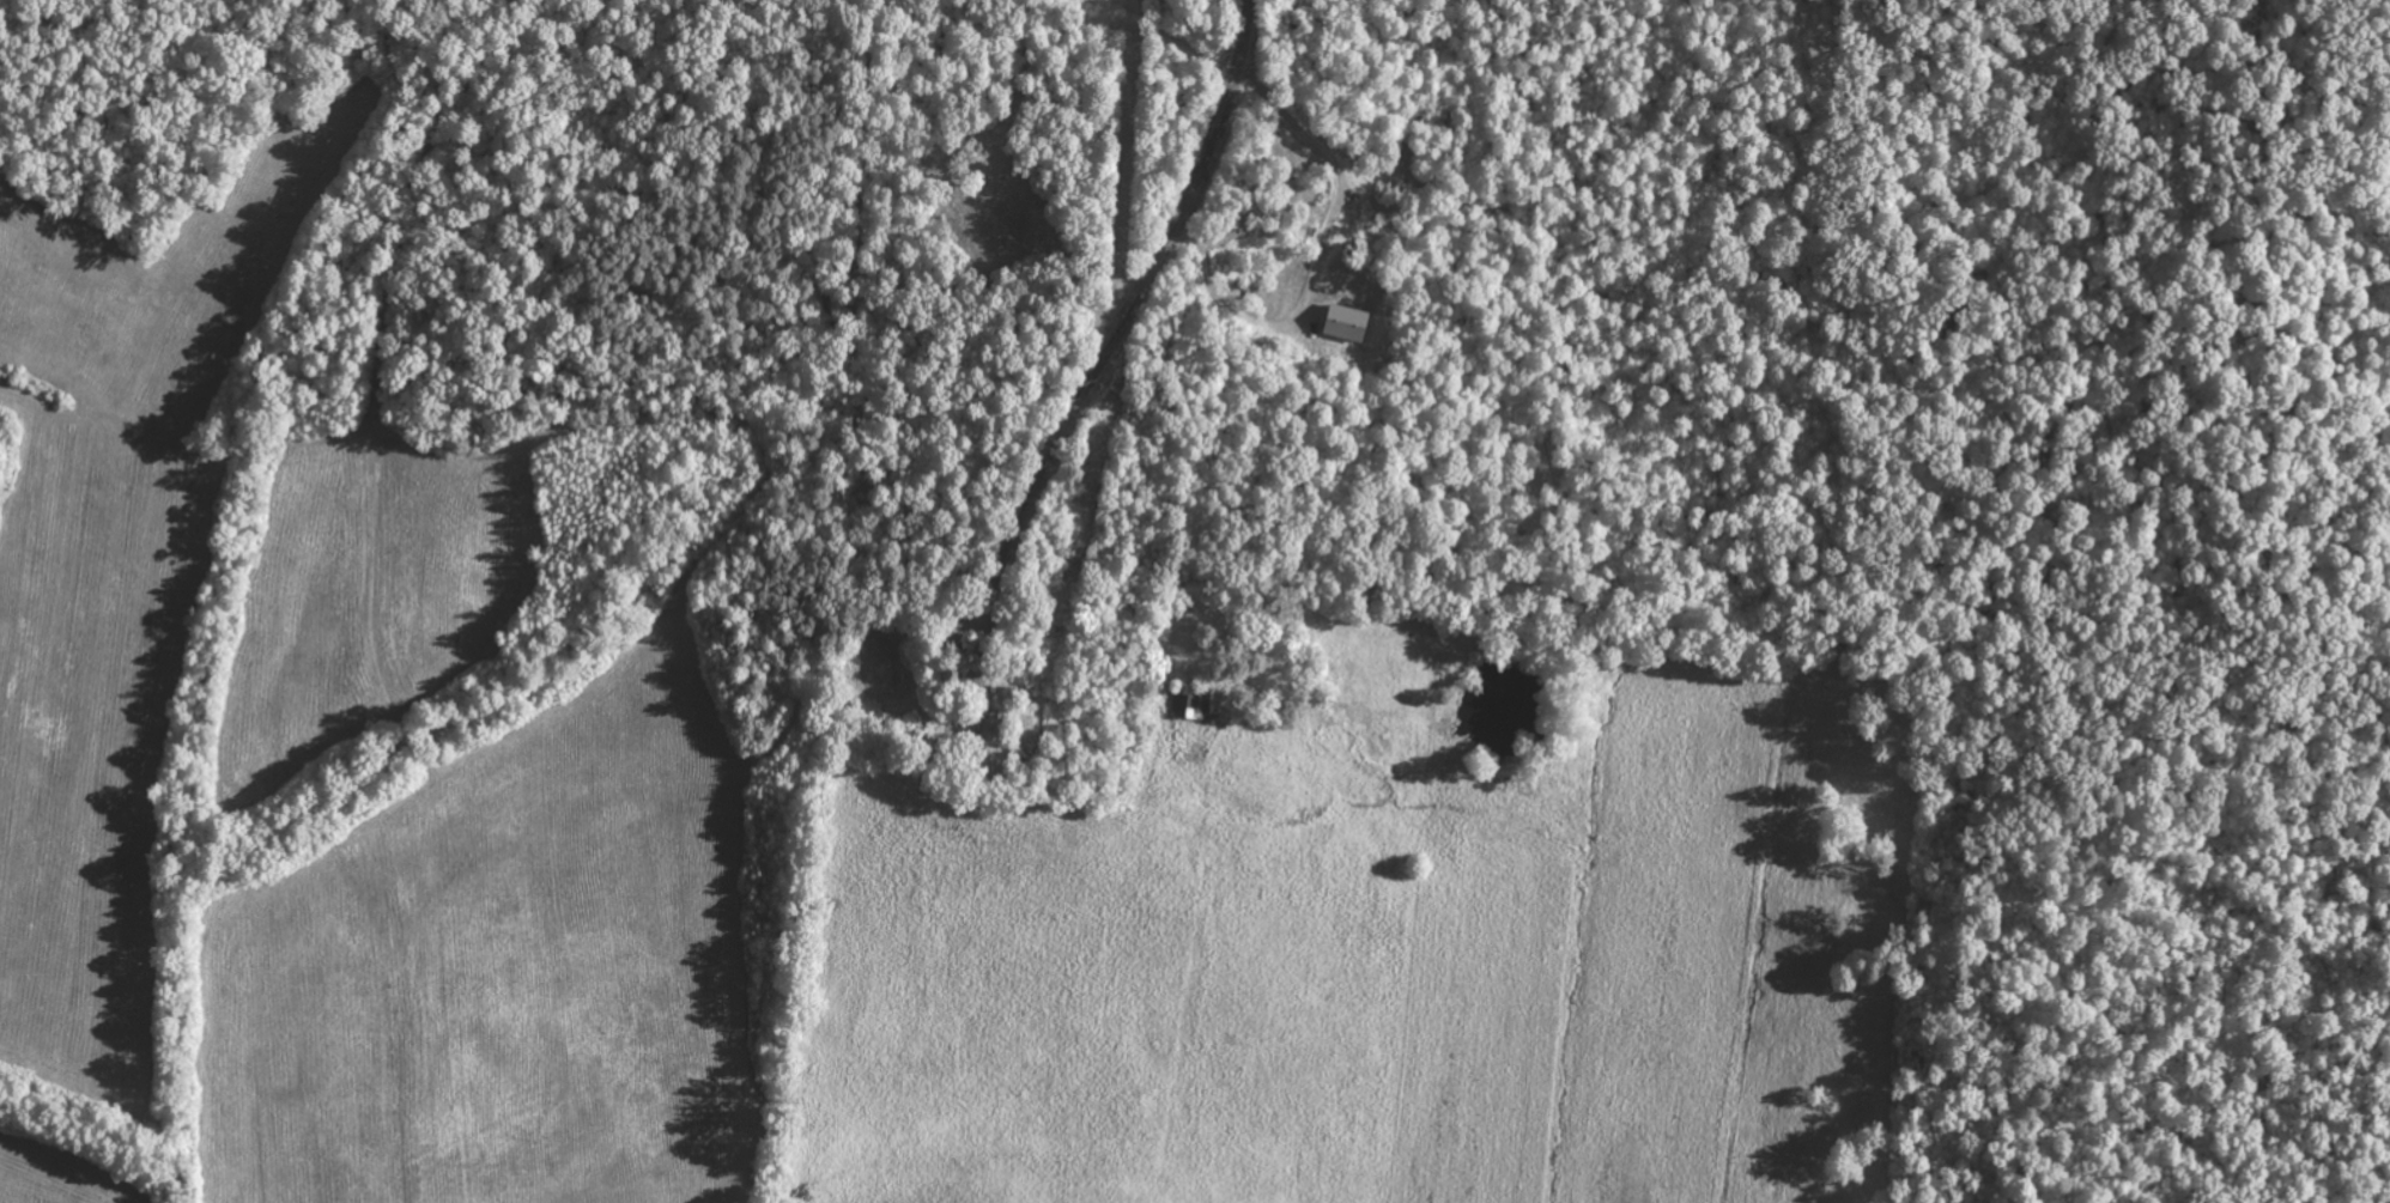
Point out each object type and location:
road: (1141, 299)
building: (1339, 322)
road: (977, 595)
building: (1195, 701)

